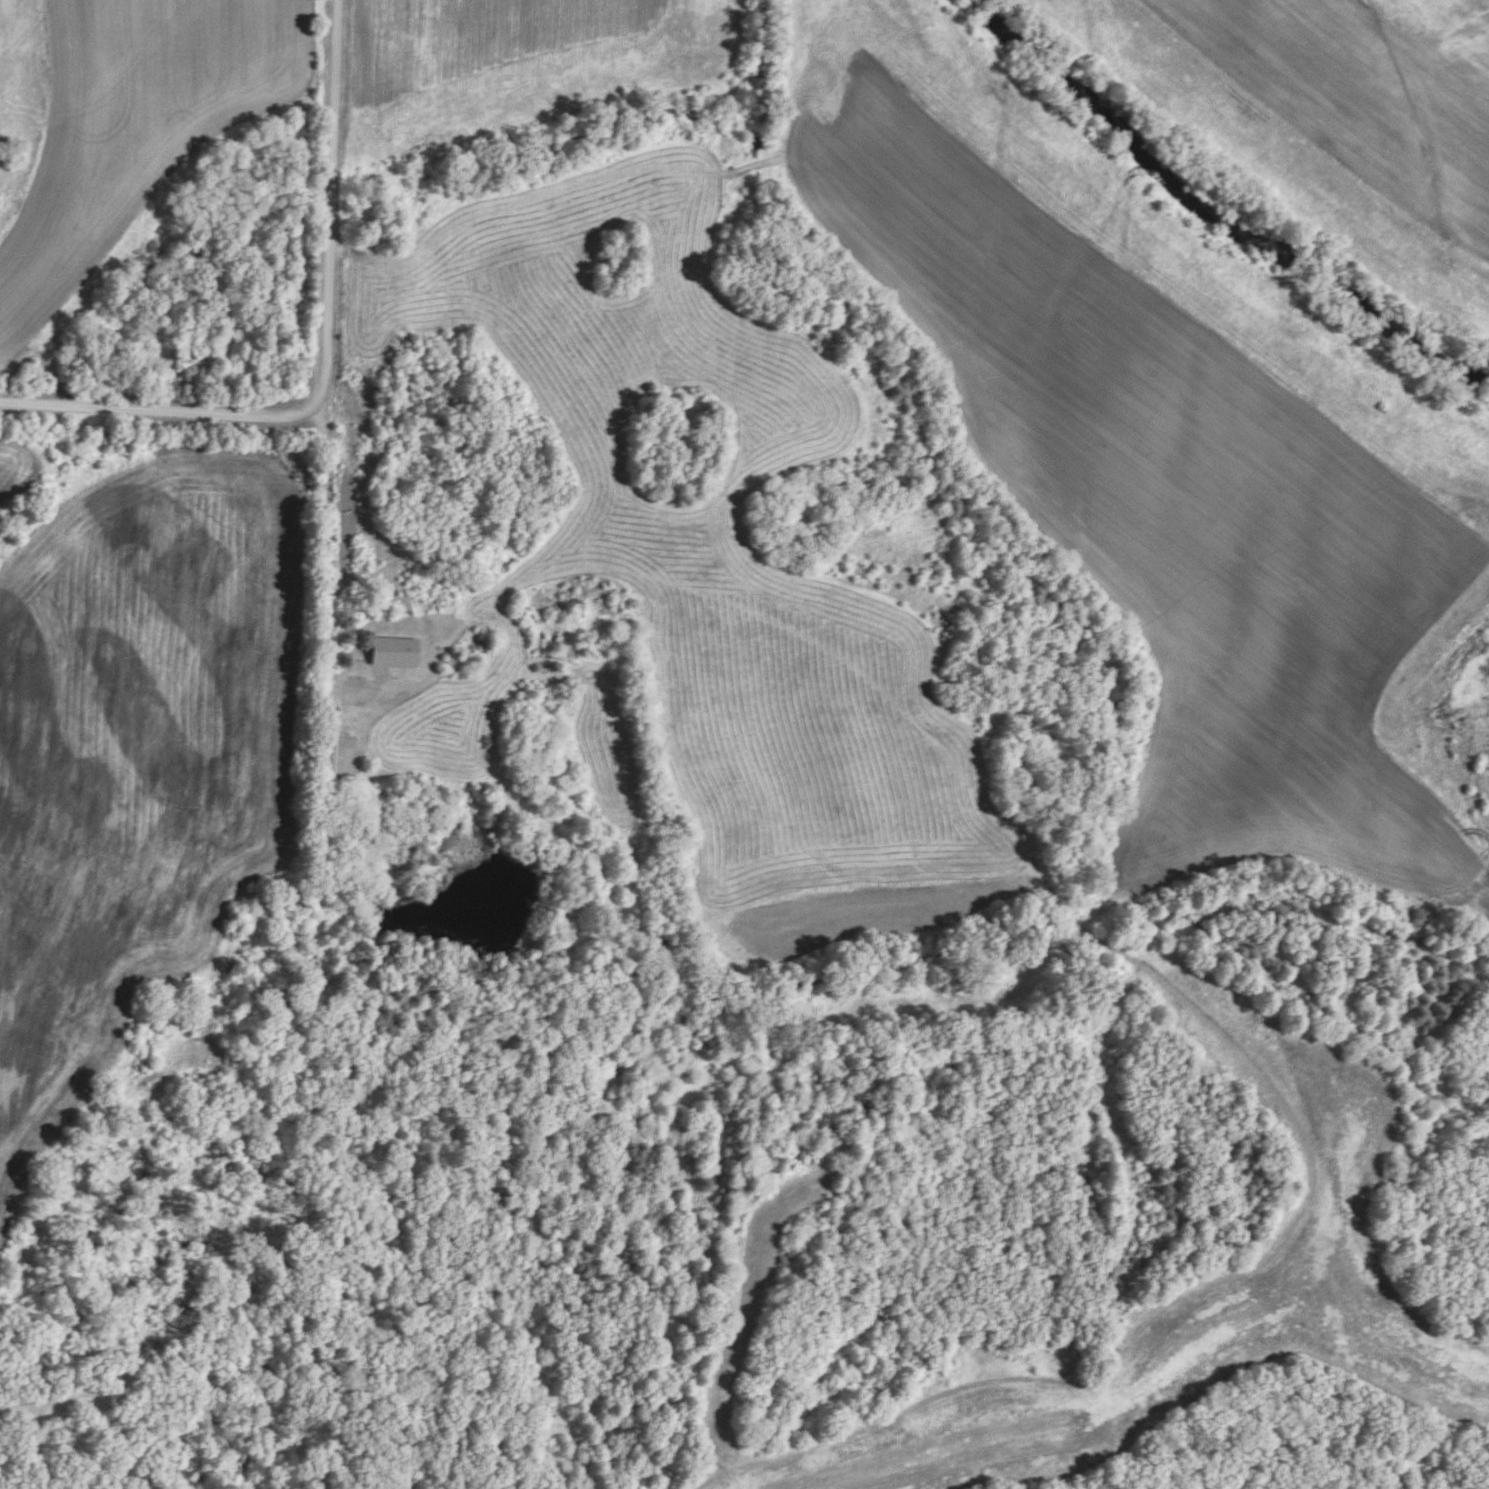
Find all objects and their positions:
road: (327, 364)
building: (399, 650)

